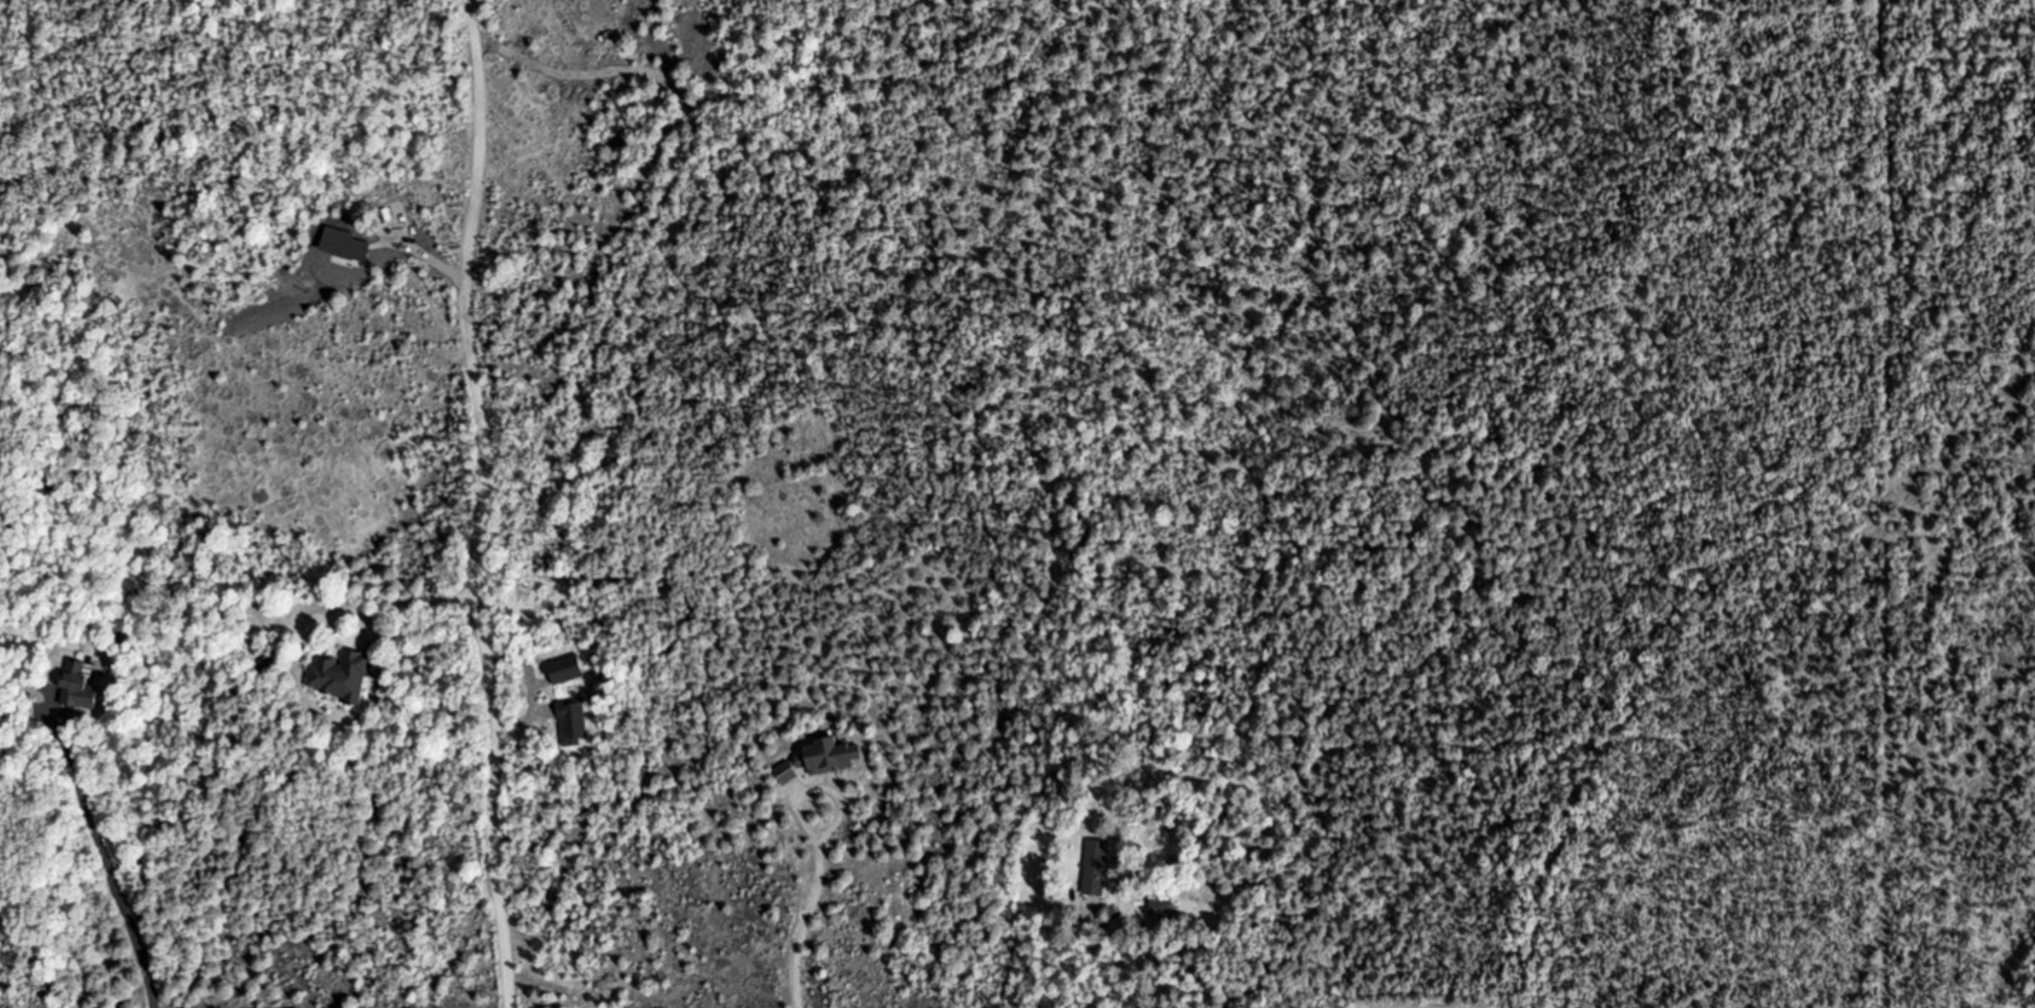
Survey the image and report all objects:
road: (483, 504)
road: (418, 602)
building: (340, 675)
building: (78, 686)
building: (820, 759)
road: (815, 790)
road: (108, 863)
building: (1095, 868)
road: (806, 922)

